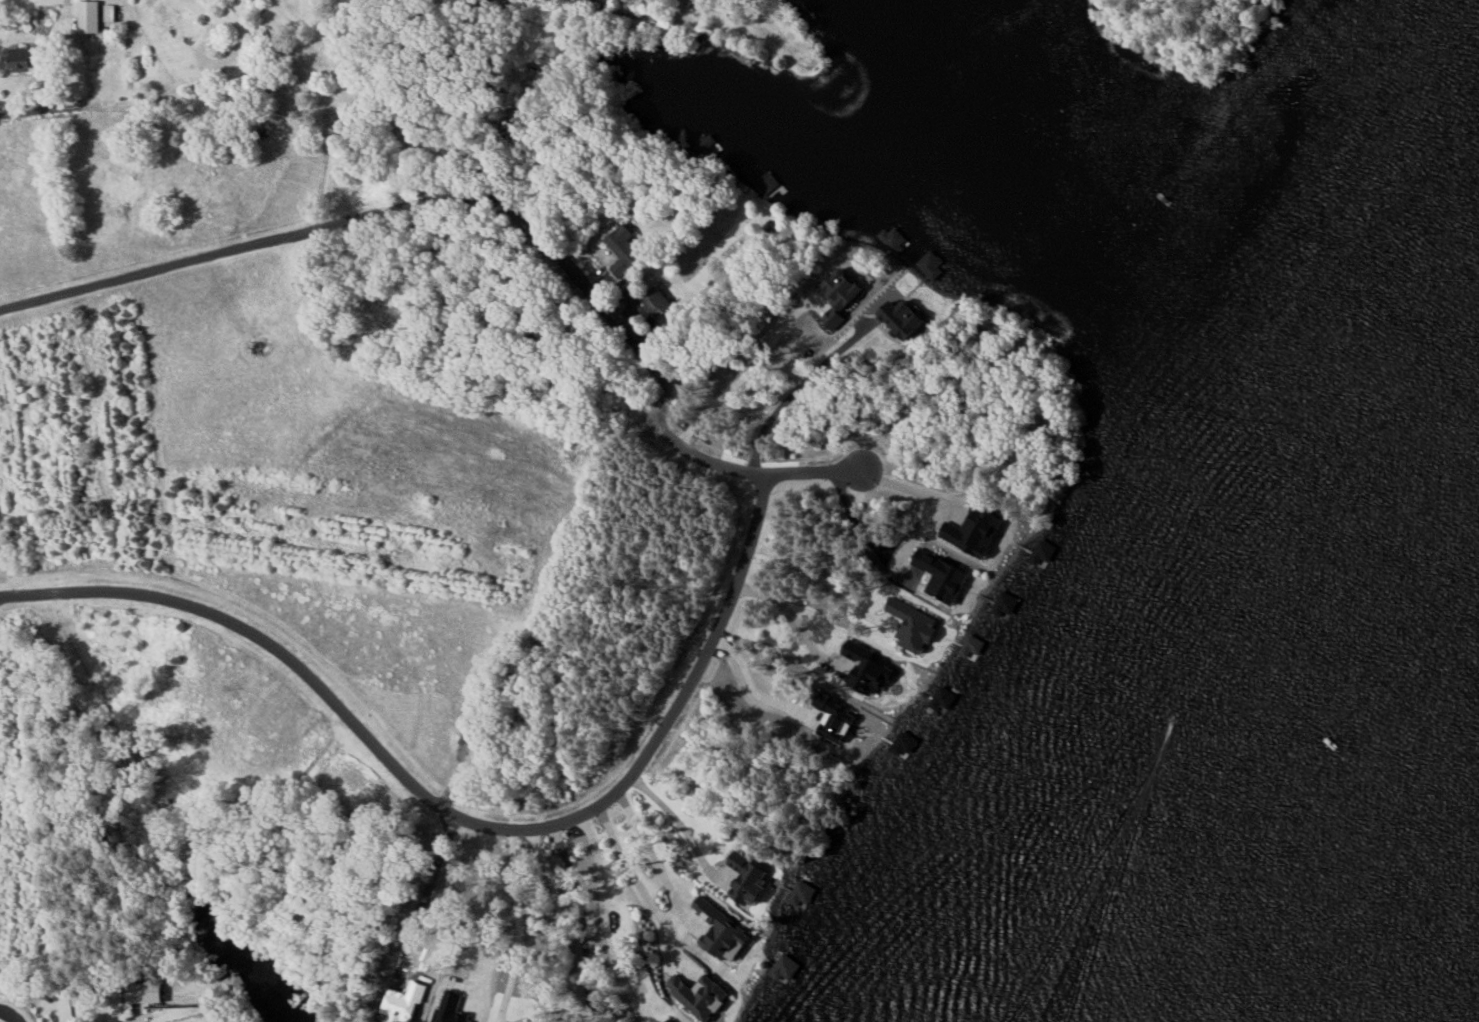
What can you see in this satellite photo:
building: (109, 12)
building: (88, 15)
building: (25, 57)
road: (496, 198)
building: (622, 249)
building: (931, 265)
building: (894, 316)
building: (978, 531)
building: (1042, 552)
road: (821, 578)
building: (943, 578)
building: (1005, 605)
building: (889, 622)
building: (971, 647)
building: (870, 674)
building: (943, 698)
building: (836, 723)
building: (904, 743)
road: (454, 813)
building: (748, 879)
building: (802, 894)
road: (555, 922)
road: (518, 923)
building: (722, 934)
building: (785, 967)
building: (234, 984)
building: (144, 993)
building: (698, 995)
building: (452, 1008)
road: (8, 1014)

